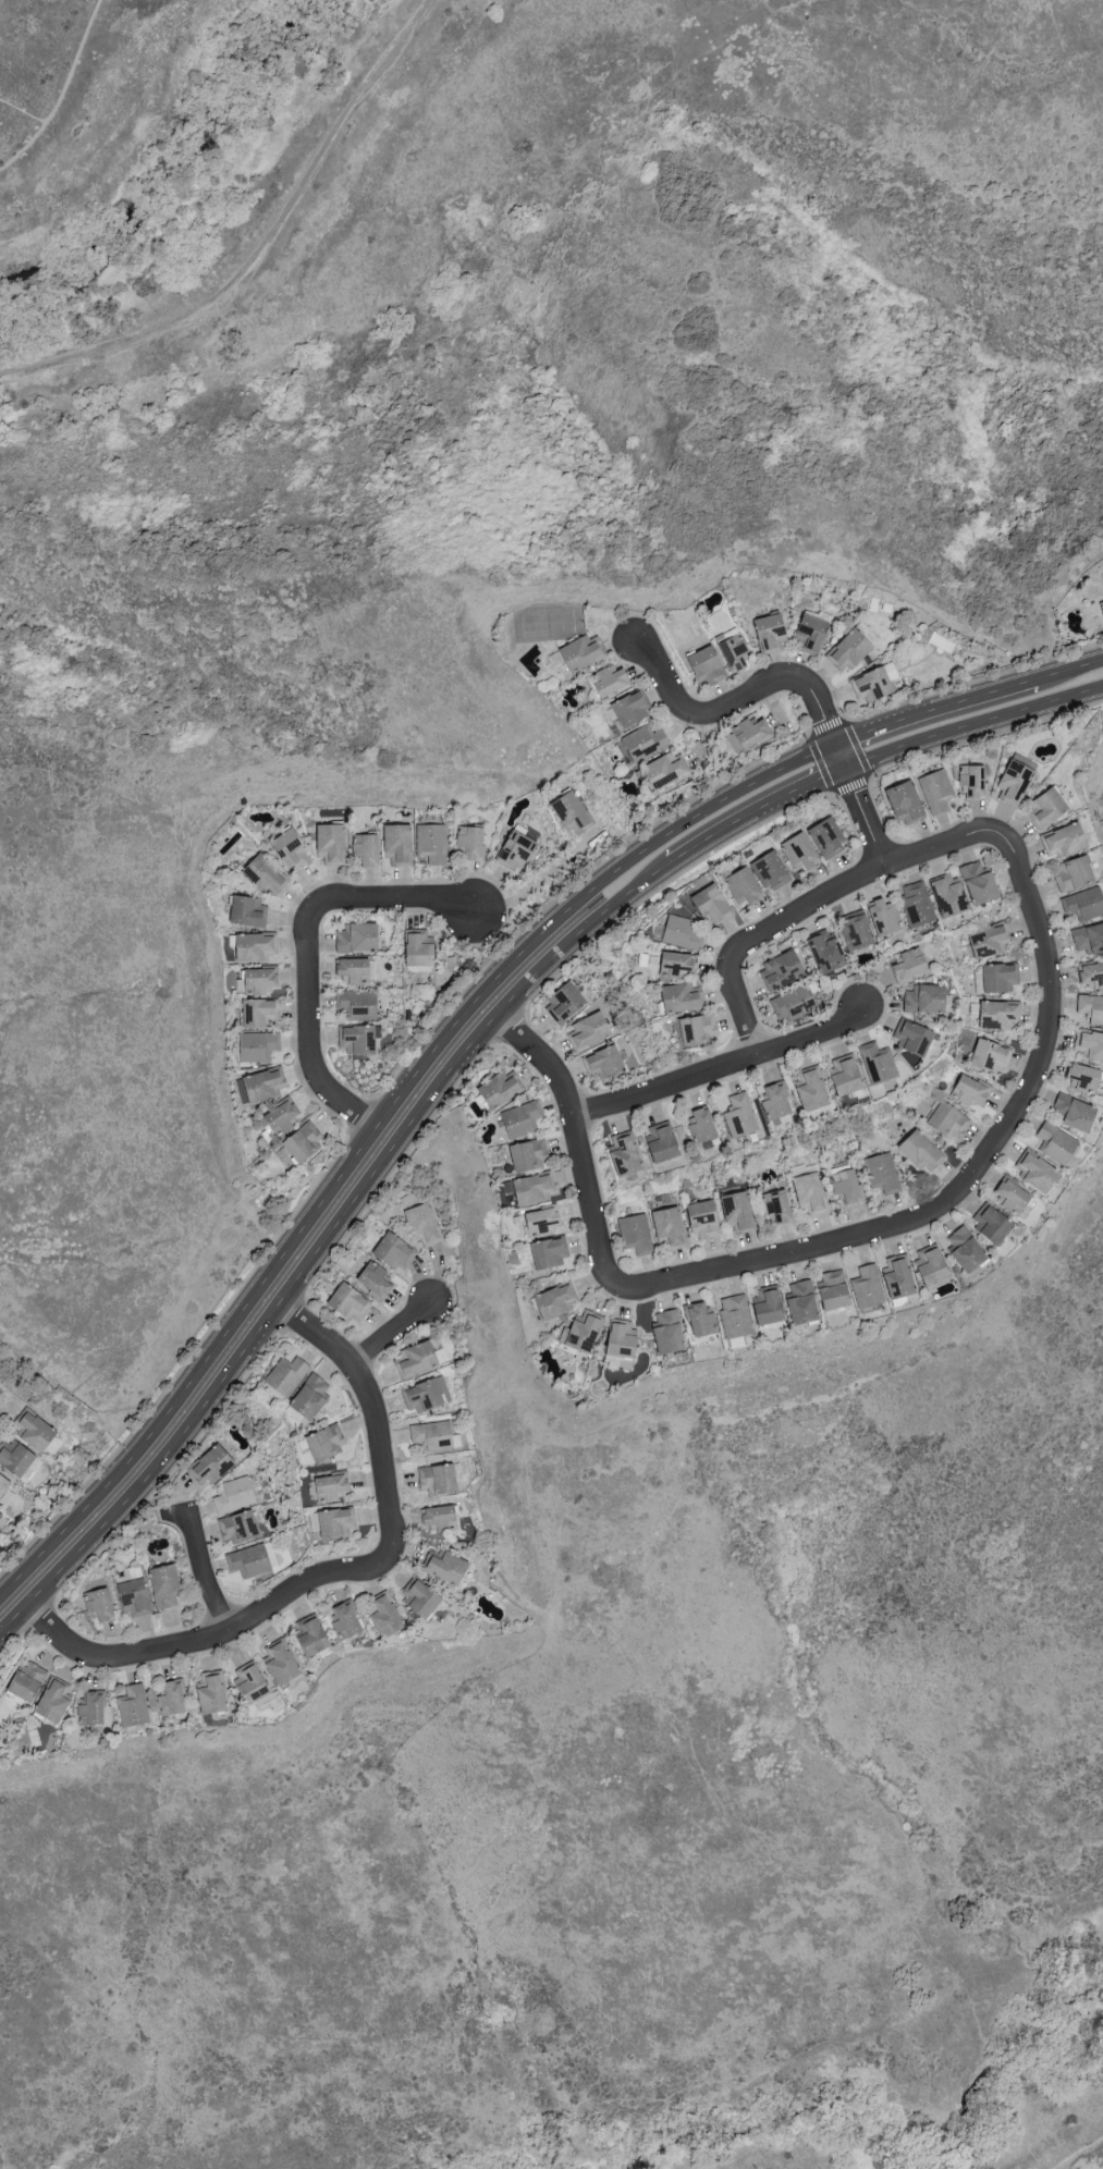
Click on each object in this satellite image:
road: (61, 90)
road: (23, 110)
road: (262, 245)
building: (1102, 604)
building: (774, 630)
building: (814, 634)
building: (850, 649)
building: (737, 651)
building: (580, 652)
building: (710, 664)
road: (1068, 666)
building: (614, 681)
road: (796, 683)
building: (874, 684)
road: (932, 706)
building: (635, 708)
building: (613, 713)
road: (973, 726)
building: (750, 735)
building: (648, 740)
traffic signals: (834, 740)
traffic signals: (846, 769)
building: (670, 771)
building: (975, 780)
building: (1017, 780)
building: (937, 791)
building: (909, 801)
building: (1050, 808)
building: (574, 812)
road: (752, 813)
building: (830, 836)
building: (1067, 838)
building: (474, 841)
building: (432, 842)
building: (333, 843)
building: (400, 844)
building: (293, 847)
building: (368, 848)
building: (519, 849)
building: (804, 850)
building: (774, 870)
building: (266, 872)
building: (1075, 873)
building: (983, 882)
road: (534, 883)
building: (747, 885)
building: (951, 894)
building: (715, 902)
road: (819, 902)
building: (919, 903)
building: (1084, 903)
building: (250, 910)
building: (887, 917)
building: (858, 929)
building: (684, 932)
building: (360, 936)
building: (1089, 938)
building: (992, 940)
road: (308, 943)
building: (258, 946)
building: (424, 948)
building: (829, 951)
building: (679, 964)
building: (914, 964)
building: (355, 969)
building: (783, 970)
building: (1092, 975)
building: (996, 978)
building: (259, 980)
building: (685, 997)
building: (928, 998)
building: (566, 1002)
building: (792, 1002)
building: (358, 1003)
building: (1092, 1007)
building: (261, 1013)
building: (1002, 1014)
building: (679, 1028)
building: (700, 1029)
building: (590, 1030)
building: (915, 1036)
building: (359, 1038)
building: (1089, 1043)
building: (259, 1045)
building: (993, 1054)
building: (879, 1062)
road: (724, 1067)
building: (849, 1074)
building: (1087, 1076)
building: (261, 1086)
building: (503, 1088)
building: (814, 1088)
building: (973, 1091)
building: (779, 1099)
building: (1078, 1112)
building: (284, 1115)
building: (740, 1115)
building: (523, 1117)
building: (951, 1119)
road: (377, 1123)
building: (704, 1125)
building: (664, 1140)
building: (306, 1142)
road: (577, 1142)
building: (1058, 1143)
building: (923, 1151)
building: (627, 1153)
building: (531, 1154)
building: (1038, 1171)
building: (883, 1172)
road: (970, 1178)
building: (537, 1188)
building: (811, 1192)
building: (1014, 1194)
building: (780, 1205)
building: (740, 1212)
building: (707, 1218)
building: (544, 1220)
building: (993, 1222)
building: (421, 1224)
building: (672, 1226)
building: (637, 1233)
road: (324, 1241)
building: (968, 1249)
building: (394, 1251)
building: (551, 1253)
building: (934, 1263)
building: (902, 1276)
building: (373, 1279)
building: (869, 1286)
building: (836, 1289)
building: (559, 1300)
building: (804, 1301)
building: (348, 1302)
building: (770, 1304)
building: (736, 1315)
building: (701, 1320)
building: (584, 1332)
building: (670, 1332)
road: (391, 1334)
building: (624, 1339)
building: (416, 1360)
building: (286, 1376)
building: (421, 1396)
building: (309, 1398)
road: (371, 1402)
building: (37, 1429)
building: (432, 1437)
building: (324, 1444)
building: (16, 1454)
building: (210, 1466)
building: (439, 1480)
building: (4, 1483)
building: (332, 1487)
building: (233, 1495)
building: (1, 1515)
building: (439, 1519)
building: (334, 1524)
building: (238, 1527)
building: (248, 1560)
building: (444, 1568)
road: (203, 1569)
building: (164, 1585)
building: (134, 1596)
building: (422, 1602)
building: (98, 1606)
building: (384, 1619)
building: (345, 1621)
road: (217, 1637)
building: (311, 1637)
building: (282, 1664)
building: (252, 1682)
building: (26, 1683)
building: (215, 1695)
building: (172, 1700)
building: (54, 1702)
building: (134, 1708)
building: (91, 1710)
road: (1079, 2155)

